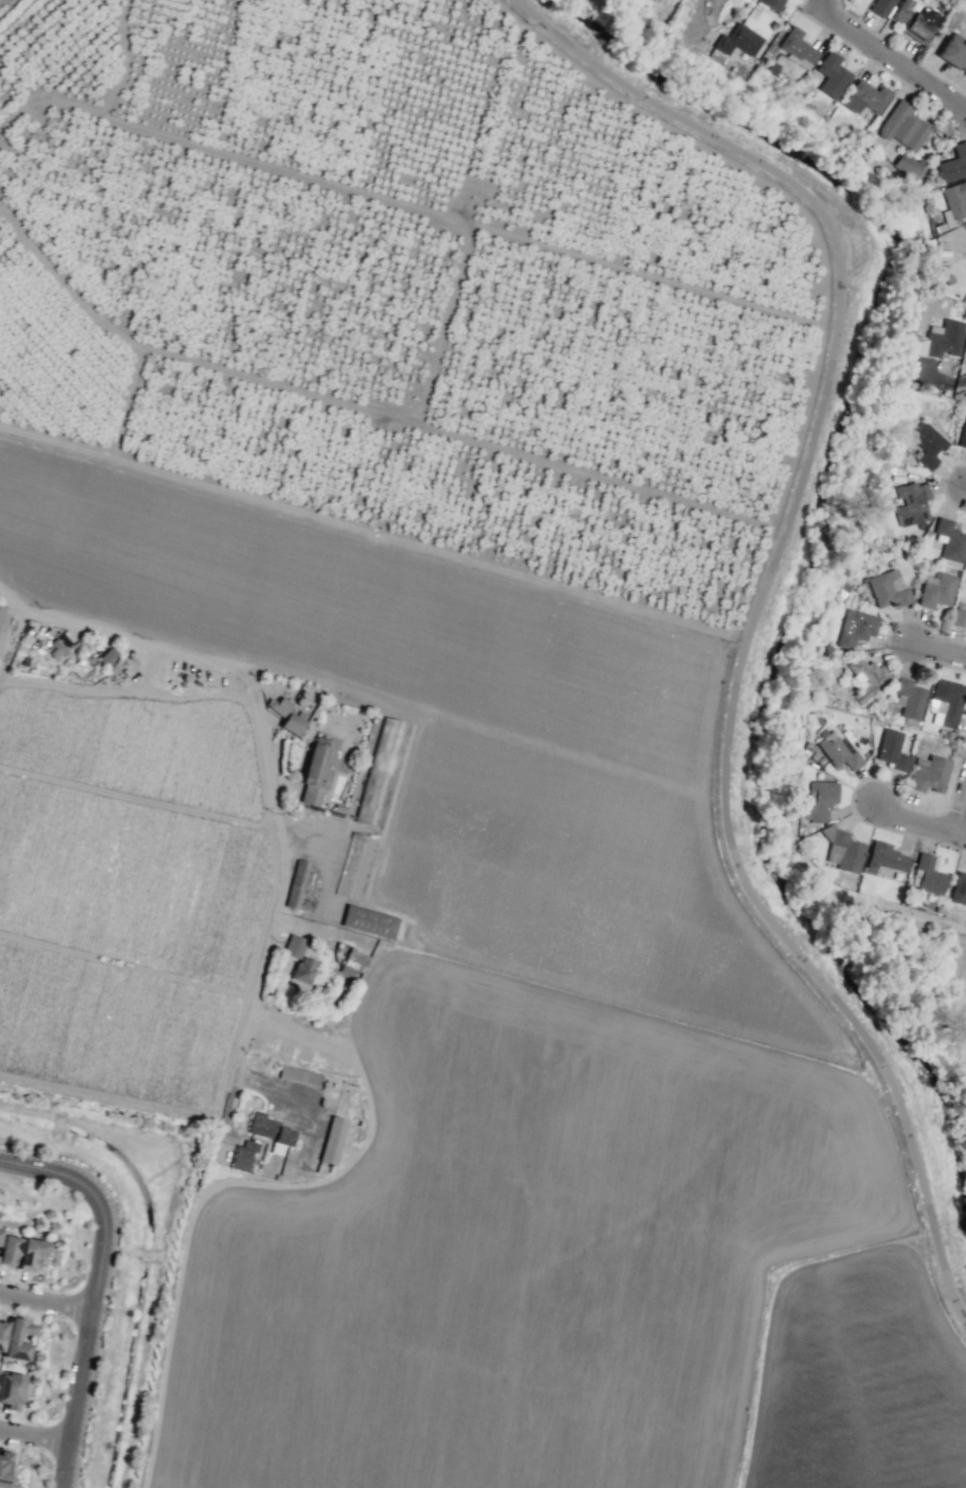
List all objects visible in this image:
building: (965, 0)
building: (770, 4)
road: (828, 5)
building: (880, 7)
building: (913, 19)
road: (687, 22)
building: (737, 40)
building: (954, 52)
road: (896, 60)
building: (831, 75)
building: (865, 97)
building: (903, 126)
building: (953, 163)
building: (910, 166)
building: (954, 199)
building: (965, 228)
building: (943, 338)
building: (915, 345)
road: (962, 380)
building: (963, 435)
building: (926, 444)
road: (962, 482)
building: (911, 503)
park: (860, 506)
building: (949, 540)
building: (887, 588)
building: (936, 590)
road: (754, 609)
building: (958, 618)
building: (3, 619)
building: (855, 628)
road: (941, 646)
building: (106, 656)
building: (865, 677)
building: (908, 698)
building: (945, 702)
building: (277, 705)
building: (291, 723)
building: (890, 749)
building: (836, 751)
road: (270, 761)
crop: (440, 765)
building: (316, 770)
building: (381, 771)
building: (928, 773)
building: (816, 801)
road: (925, 821)
building: (842, 849)
building: (884, 857)
building: (927, 875)
building: (301, 886)
building: (958, 889)
building: (371, 922)
building: (293, 946)
building: (355, 960)
building: (302, 971)
crop: (911, 973)
crop: (436, 1018)
road: (770, 1052)
building: (299, 1075)
building: (269, 1131)
building: (332, 1140)
building: (242, 1156)
building: (0, 1229)
building: (8, 1250)
building: (30, 1253)
road: (96, 1289)
road: (47, 1297)
building: (2, 1331)
building: (16, 1340)
building: (10, 1390)
road: (34, 1436)
building: (4, 1466)

